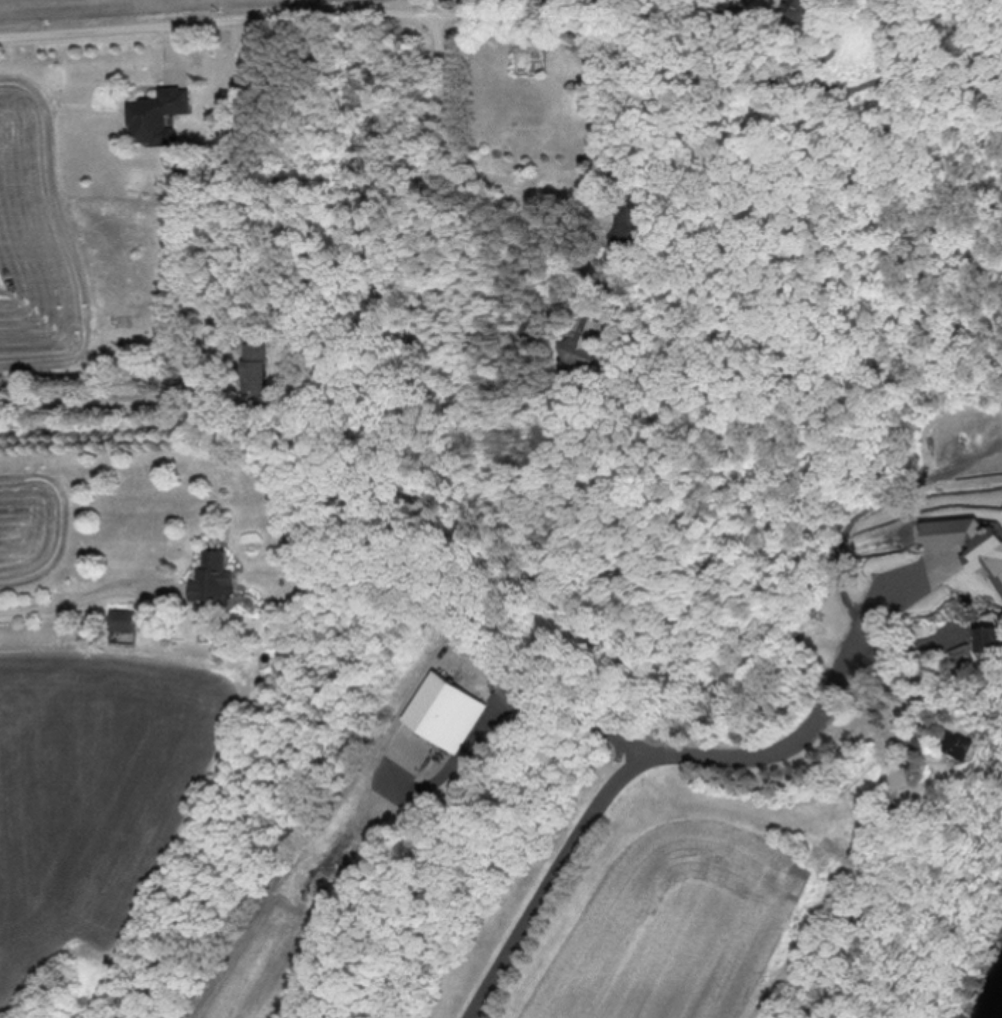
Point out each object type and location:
building: (804, 7)
road: (313, 16)
building: (593, 45)
building: (159, 116)
road: (564, 181)
road: (499, 182)
building: (633, 219)
building: (256, 370)
road: (99, 402)
building: (972, 542)
building: (211, 578)
road: (82, 594)
building: (122, 620)
road: (545, 706)
building: (439, 707)
building: (725, 722)
road: (661, 752)
road: (828, 896)
building: (866, 921)

